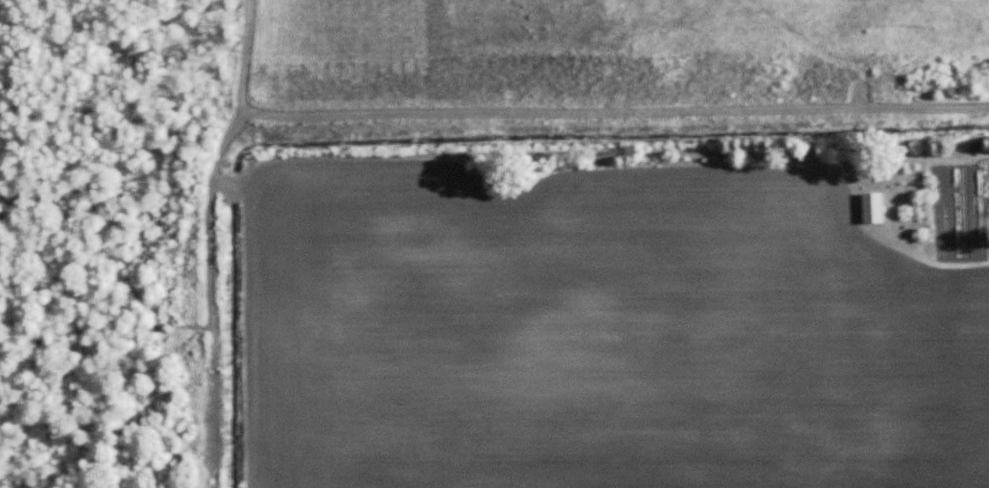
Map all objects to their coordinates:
building: (872, 209)

